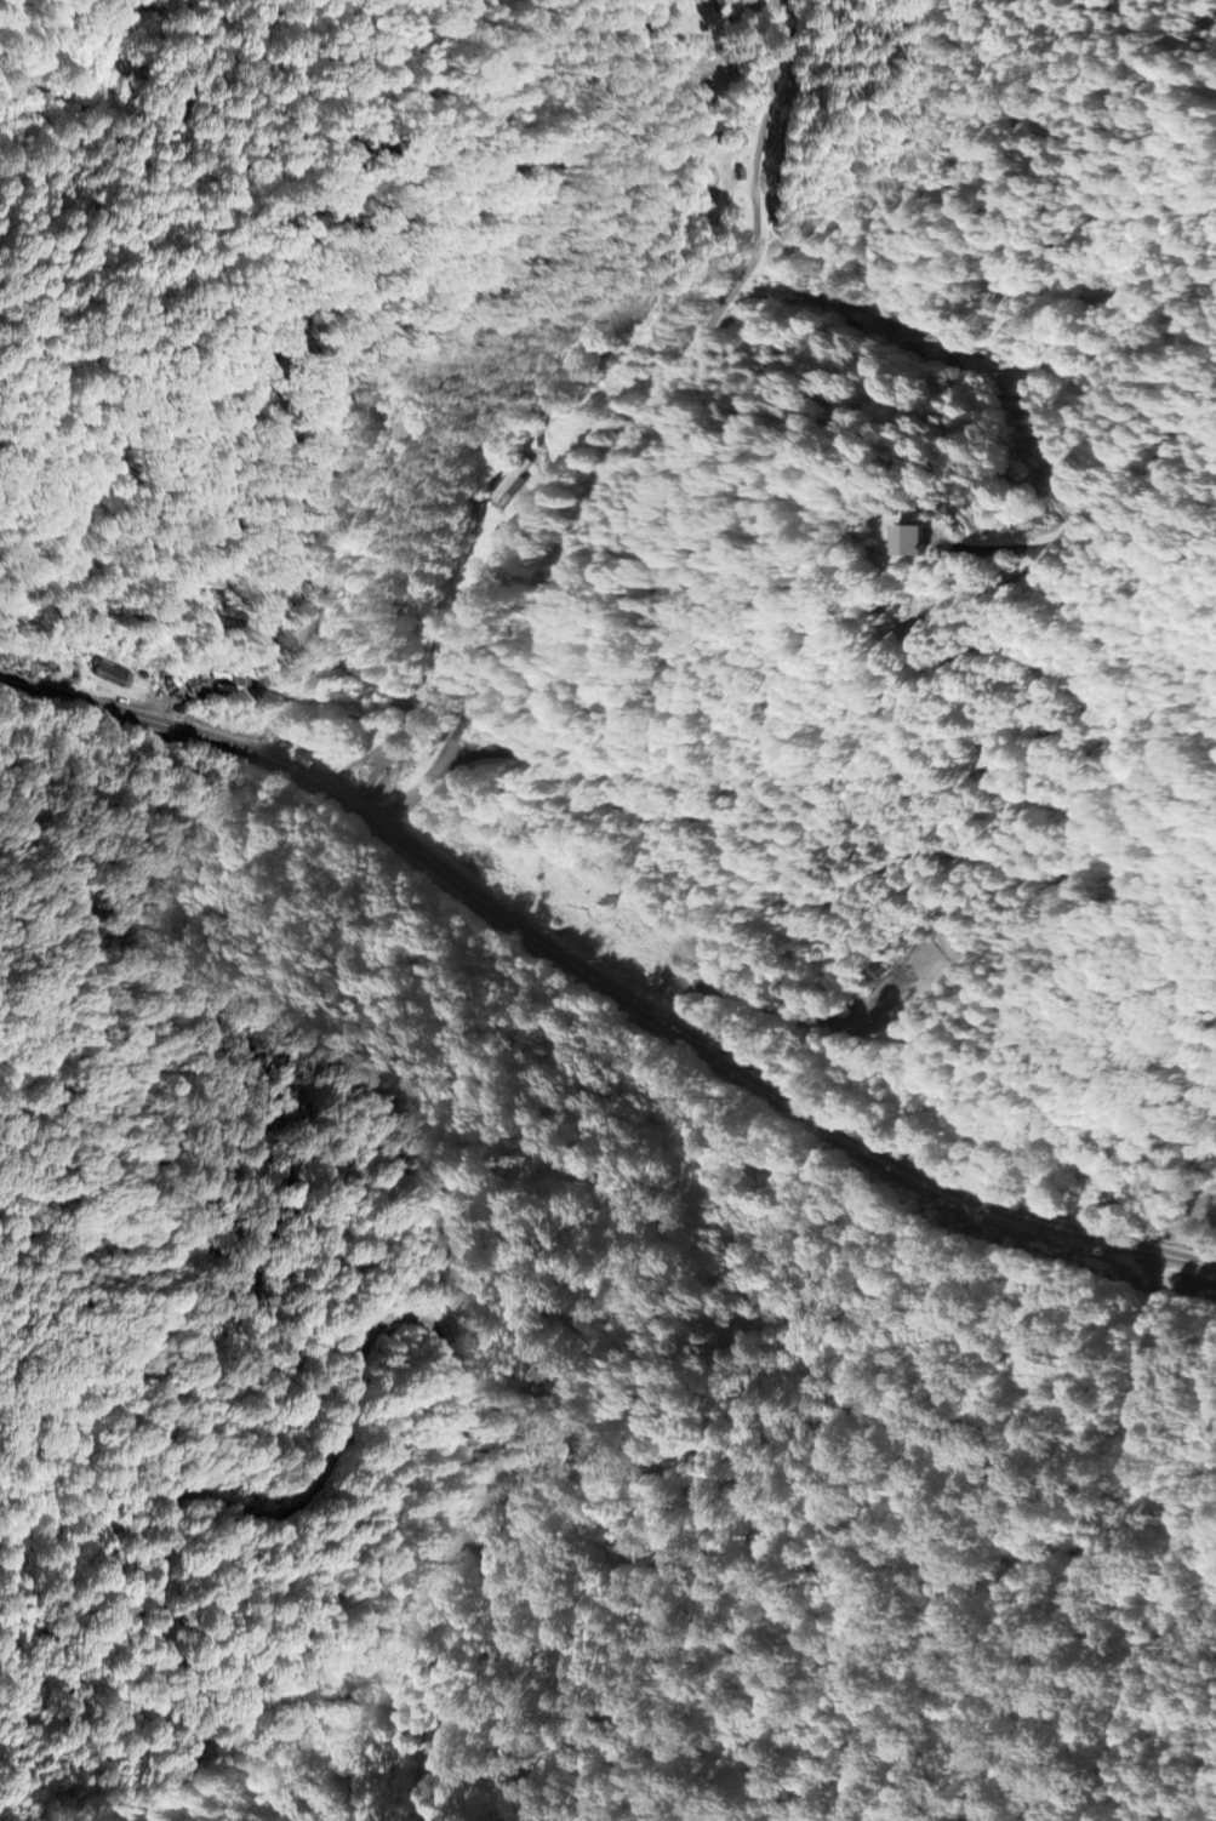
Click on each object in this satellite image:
road: (661, 399)
road: (1021, 795)
road: (413, 797)
road: (601, 978)
road: (356, 1347)
road: (1045, 1565)
road: (1032, 1685)

